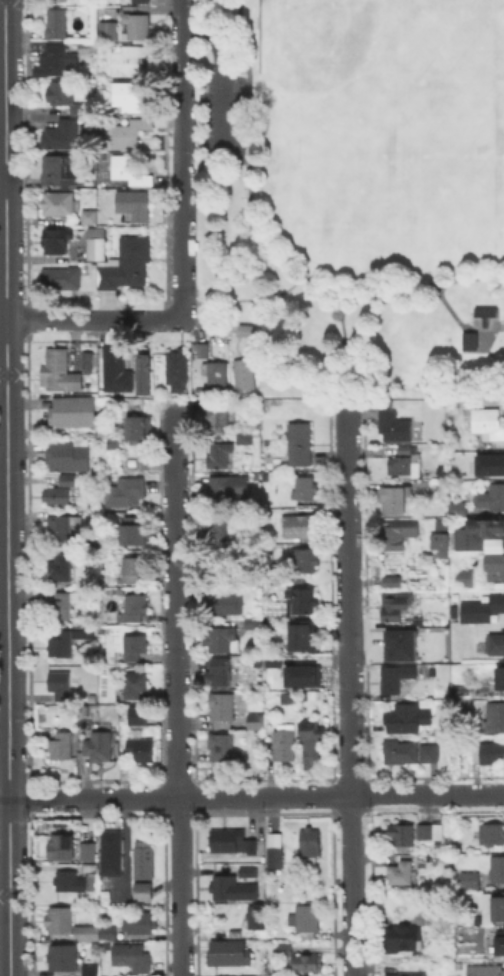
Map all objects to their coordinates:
building: (56, 0)
building: (136, 1)
building: (56, 23)
building: (137, 25)
building: (107, 29)
park: (430, 43)
building: (83, 46)
building: (56, 58)
building: (128, 58)
road: (220, 76)
park: (350, 80)
building: (64, 96)
building: (129, 96)
parking lot: (221, 116)
building: (129, 132)
building: (61, 134)
park: (390, 154)
road: (182, 159)
building: (60, 169)
building: (129, 169)
road: (3, 183)
park: (353, 192)
park: (488, 196)
building: (58, 202)
building: (133, 203)
building: (89, 216)
building: (56, 239)
building: (97, 243)
road: (268, 247)
building: (127, 263)
building: (61, 277)
road: (245, 299)
building: (483, 311)
road: (94, 319)
road: (459, 323)
building: (246, 329)
building: (467, 339)
building: (203, 349)
road: (338, 352)
building: (84, 359)
building: (113, 367)
building: (59, 370)
building: (145, 371)
building: (179, 371)
building: (244, 372)
building: (217, 376)
building: (75, 412)
building: (216, 415)
building: (488, 424)
building: (394, 426)
building: (139, 427)
building: (114, 428)
building: (244, 435)
building: (110, 442)
building: (300, 443)
building: (406, 450)
building: (221, 454)
building: (67, 455)
building: (405, 465)
building: (488, 466)
building: (67, 479)
building: (419, 485)
building: (223, 487)
building: (304, 487)
road: (7, 488)
building: (125, 491)
building: (57, 495)
building: (390, 497)
building: (491, 497)
building: (458, 508)
building: (442, 523)
building: (221, 524)
building: (298, 525)
building: (59, 528)
building: (135, 530)
building: (73, 532)
building: (397, 533)
building: (479, 533)
building: (441, 541)
building: (304, 559)
building: (459, 560)
building: (60, 566)
building: (133, 567)
building: (494, 568)
building: (465, 578)
building: (392, 580)
building: (301, 599)
building: (225, 601)
building: (62, 604)
building: (396, 604)
building: (132, 607)
building: (481, 609)
building: (451, 611)
building: (252, 622)
building: (304, 634)
building: (222, 639)
building: (63, 641)
building: (397, 643)
building: (495, 643)
building: (134, 645)
building: (266, 663)
building: (432, 670)
building: (220, 672)
building: (397, 677)
building: (293, 678)
building: (500, 679)
building: (60, 683)
building: (135, 683)
road: (349, 690)
building: (461, 690)
road: (177, 691)
building: (221, 705)
building: (137, 714)
building: (494, 717)
building: (256, 721)
building: (399, 721)
building: (305, 727)
building: (284, 741)
building: (61, 743)
building: (96, 743)
building: (221, 746)
building: (141, 748)
building: (399, 751)
building: (311, 752)
building: (429, 752)
building: (488, 752)
road: (251, 796)
building: (430, 830)
building: (401, 833)
building: (491, 833)
building: (232, 840)
building: (85, 841)
building: (309, 843)
building: (61, 845)
building: (274, 849)
building: (109, 850)
building: (144, 857)
building: (423, 857)
building: (497, 868)
building: (245, 871)
building: (400, 872)
building: (470, 878)
building: (68, 880)
building: (230, 887)
building: (143, 892)
building: (496, 907)
building: (255, 915)
building: (305, 919)
building: (140, 922)
building: (70, 923)
building: (107, 931)
building: (402, 938)
building: (499, 941)
building: (284, 948)
building: (229, 952)
building: (63, 956)
building: (131, 956)
building: (307, 961)
building: (90, 969)
building: (485, 969)
building: (407, 974)

